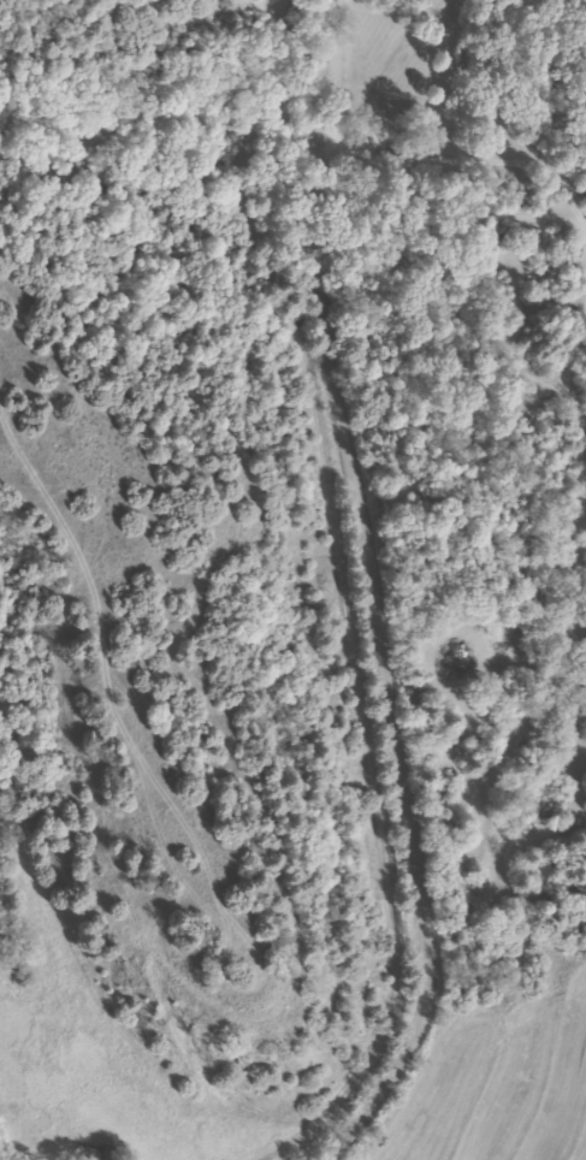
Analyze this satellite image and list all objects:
road: (363, 597)
building: (89, 1154)

